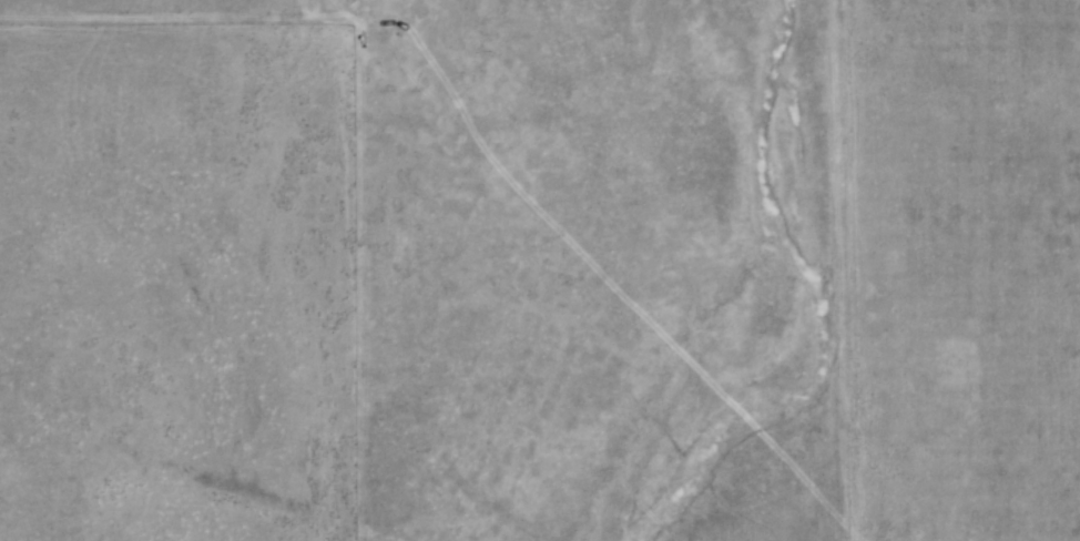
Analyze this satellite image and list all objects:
crop: (960, 269)

